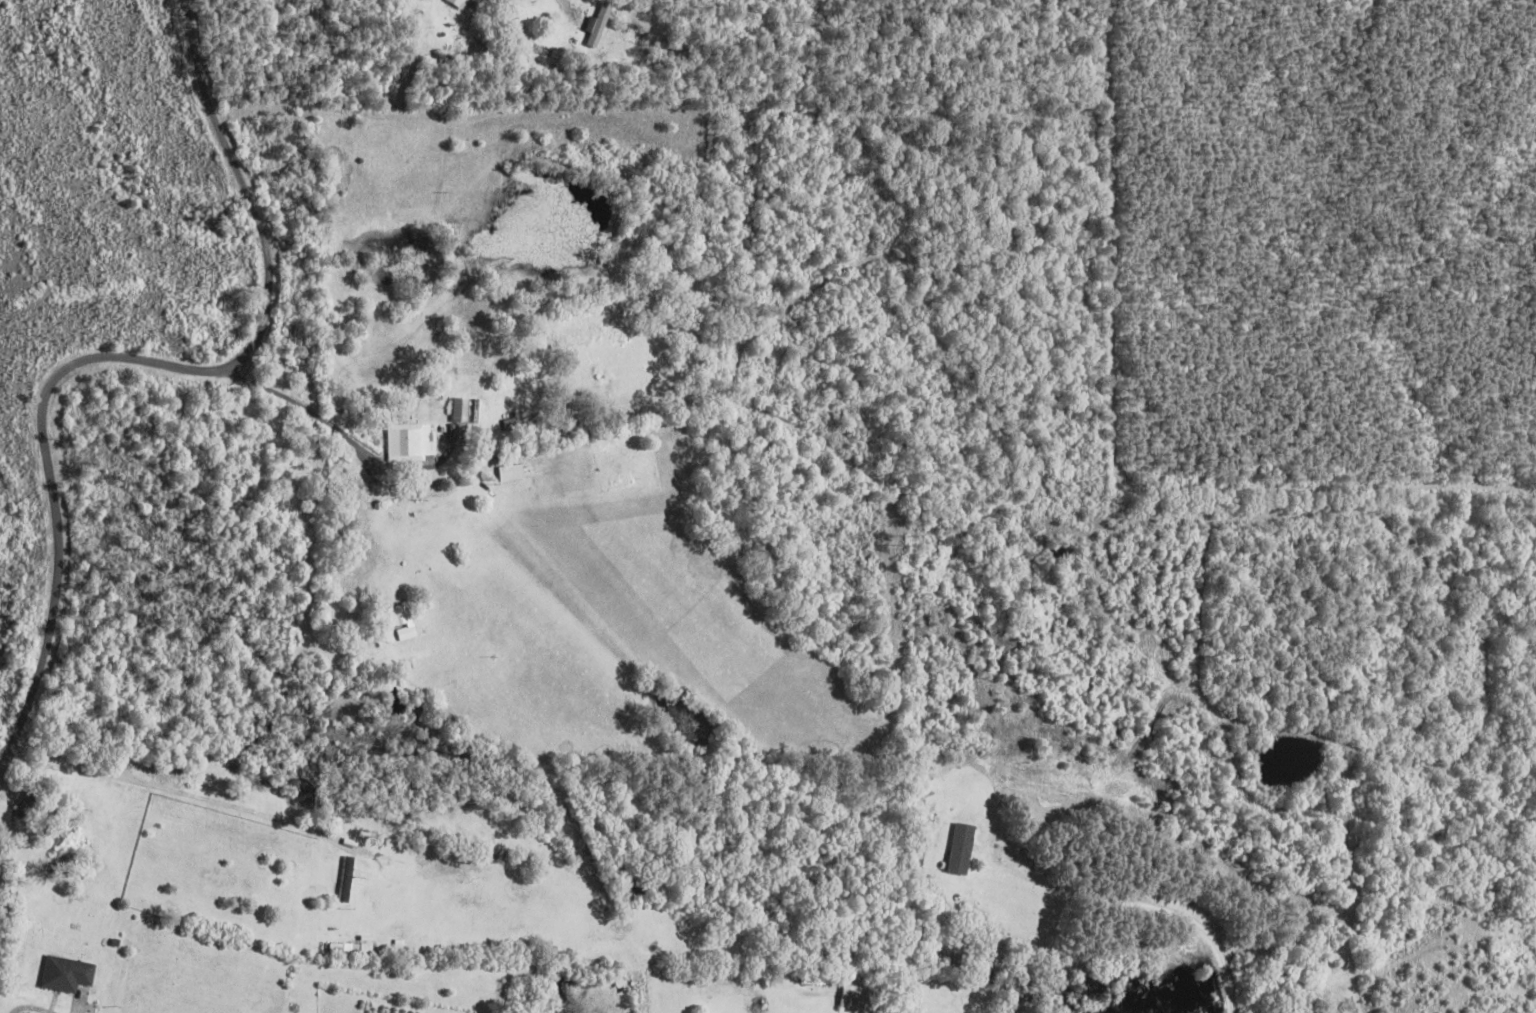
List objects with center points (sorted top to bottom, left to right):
building: (458, 2)
building: (599, 23)
road: (137, 359)
building: (461, 409)
building: (414, 441)
building: (398, 615)
building: (408, 632)
building: (962, 848)
building: (348, 878)
road: (1149, 906)
building: (67, 972)
building: (856, 996)

